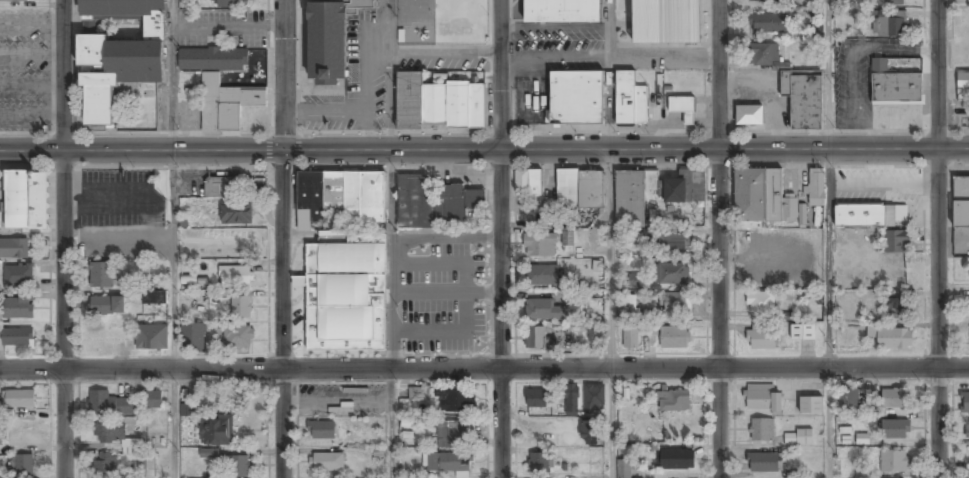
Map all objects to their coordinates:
building: (14, 1)
building: (764, 1)
building: (967, 1)
building: (895, 3)
building: (228, 4)
building: (561, 11)
building: (666, 22)
building: (767, 24)
building: (890, 24)
building: (815, 31)
building: (331, 38)
building: (120, 55)
building: (760, 55)
building: (213, 60)
building: (894, 85)
building: (963, 85)
building: (804, 98)
building: (576, 99)
building: (629, 101)
building: (226, 104)
building: (437, 104)
building: (681, 108)
building: (749, 116)
road: (484, 149)
traffic signals: (283, 150)
building: (528, 182)
building: (218, 187)
building: (254, 187)
building: (816, 188)
building: (580, 190)
building: (678, 190)
building: (342, 196)
building: (629, 198)
building: (761, 198)
building: (27, 201)
building: (432, 202)
building: (960, 203)
building: (801, 213)
building: (236, 214)
building: (871, 216)
road: (445, 234)
building: (567, 236)
road: (64, 238)
road: (172, 238)
road: (610, 238)
road: (719, 238)
road: (283, 239)
road: (389, 239)
road: (501, 239)
road: (829, 239)
road: (939, 239)
building: (896, 242)
building: (674, 243)
building: (535, 246)
building: (14, 249)
road: (418, 270)
building: (672, 274)
building: (101, 276)
road: (456, 276)
building: (542, 276)
building: (18, 277)
building: (235, 277)
building: (188, 279)
building: (634, 280)
road: (432, 282)
building: (348, 293)
park: (391, 296)
building: (574, 297)
building: (155, 299)
road: (455, 302)
building: (673, 303)
building: (760, 303)
building: (629, 304)
building: (107, 306)
building: (18, 307)
building: (240, 308)
road: (438, 308)
building: (895, 309)
building: (542, 311)
building: (648, 328)
building: (803, 332)
building: (891, 337)
building: (16, 338)
building: (151, 338)
building: (238, 338)
building: (674, 338)
building: (760, 338)
building: (193, 339)
building: (535, 339)
building: (630, 339)
road: (484, 370)
building: (418, 393)
building: (762, 398)
building: (536, 399)
building: (893, 399)
building: (20, 400)
building: (456, 400)
building: (594, 400)
building: (848, 400)
building: (154, 401)
building: (571, 401)
building: (673, 402)
building: (965, 404)
building: (112, 406)
building: (811, 406)
building: (186, 409)
building: (0, 412)
building: (321, 430)
building: (761, 430)
building: (216, 431)
building: (895, 431)
building: (967, 431)
building: (109, 434)
building: (589, 434)
building: (449, 435)
building: (798, 438)
building: (3, 439)
building: (861, 439)
building: (208, 452)
building: (676, 460)
building: (327, 462)
building: (893, 462)
building: (447, 463)
building: (764, 463)
building: (540, 464)
building: (106, 465)
building: (23, 466)
building: (238, 468)
building: (146, 469)
building: (624, 469)

